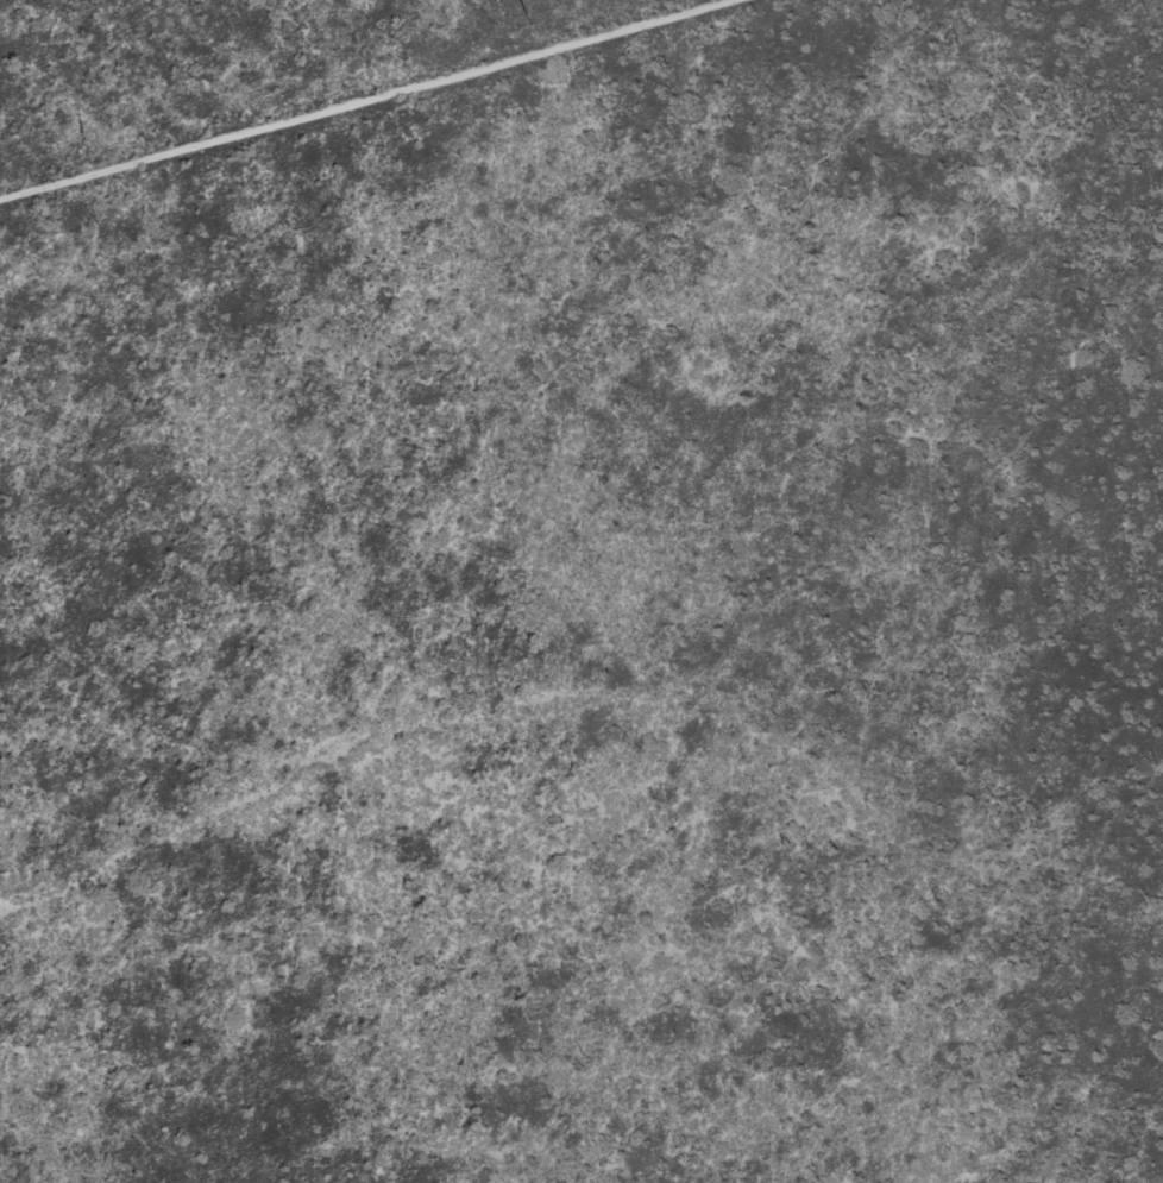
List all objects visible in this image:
power tower: (527, 19)
power tower: (78, 143)

